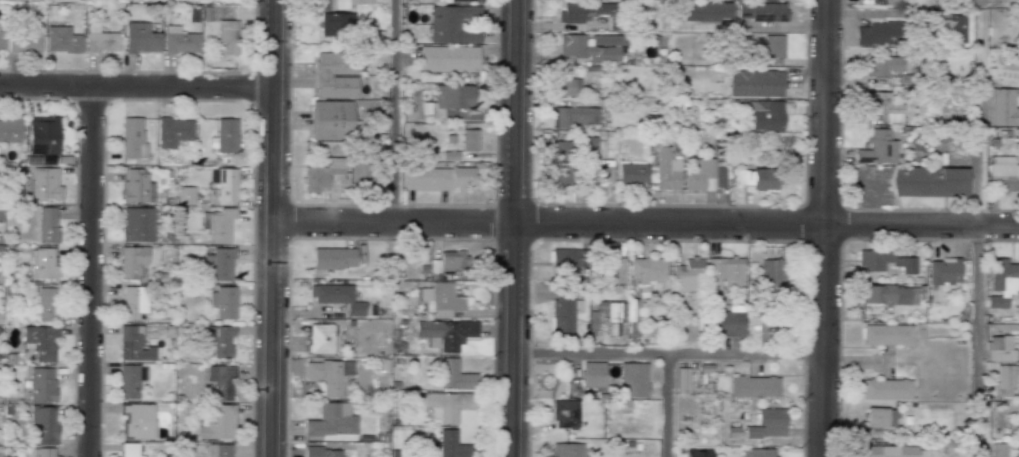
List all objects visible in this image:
building: (434, 1)
building: (890, 2)
building: (348, 3)
building: (605, 11)
building: (707, 11)
building: (760, 11)
building: (574, 13)
road: (867, 14)
building: (334, 24)
building: (452, 24)
road: (776, 26)
building: (952, 26)
building: (880, 33)
building: (227, 37)
building: (140, 38)
building: (0, 39)
building: (23, 40)
building: (61, 40)
building: (100, 40)
building: (608, 40)
building: (180, 41)
building: (769, 47)
building: (587, 50)
building: (448, 59)
building: (884, 66)
building: (336, 75)
building: (755, 83)
building: (567, 86)
road: (136, 87)
building: (449, 100)
building: (885, 107)
building: (1003, 108)
road: (393, 111)
road: (977, 112)
building: (765, 114)
building: (575, 116)
building: (331, 120)
building: (10, 130)
building: (173, 132)
building: (43, 135)
building: (224, 136)
building: (132, 138)
building: (470, 140)
building: (877, 148)
building: (561, 163)
building: (662, 167)
building: (600, 171)
building: (1003, 173)
building: (632, 174)
building: (321, 175)
building: (365, 176)
building: (703, 176)
building: (438, 179)
building: (762, 179)
building: (929, 182)
building: (45, 184)
building: (222, 184)
building: (137, 187)
building: (185, 195)
road: (866, 197)
road: (645, 223)
building: (137, 224)
building: (218, 224)
building: (47, 225)
road: (271, 228)
road: (512, 228)
road: (824, 228)
building: (333, 258)
building: (566, 259)
building: (132, 261)
building: (451, 261)
building: (884, 261)
building: (43, 263)
building: (220, 263)
building: (611, 270)
building: (726, 270)
road: (88, 271)
building: (943, 271)
building: (647, 272)
building: (772, 274)
building: (687, 275)
building: (1002, 282)
building: (889, 295)
building: (337, 297)
building: (441, 299)
building: (133, 302)
building: (223, 302)
building: (47, 304)
building: (562, 309)
building: (631, 310)
building: (725, 324)
building: (684, 329)
building: (755, 331)
building: (445, 333)
building: (887, 334)
building: (320, 338)
building: (219, 340)
building: (40, 341)
road: (975, 341)
building: (133, 344)
building: (1001, 349)
road: (667, 353)
building: (593, 374)
building: (325, 375)
building: (455, 376)
building: (633, 379)
building: (1005, 379)
building: (682, 380)
building: (220, 381)
building: (128, 382)
building: (41, 384)
building: (754, 386)
building: (885, 389)
building: (447, 405)
road: (667, 405)
building: (565, 414)
building: (879, 417)
building: (137, 420)
building: (332, 420)
building: (217, 422)
building: (44, 424)
building: (767, 424)
building: (449, 445)
building: (128, 450)
building: (218, 450)
building: (566, 450)
building: (998, 450)
building: (886, 451)
building: (42, 452)
building: (322, 452)
building: (1015, 452)
building: (697, 453)
building: (757, 453)

